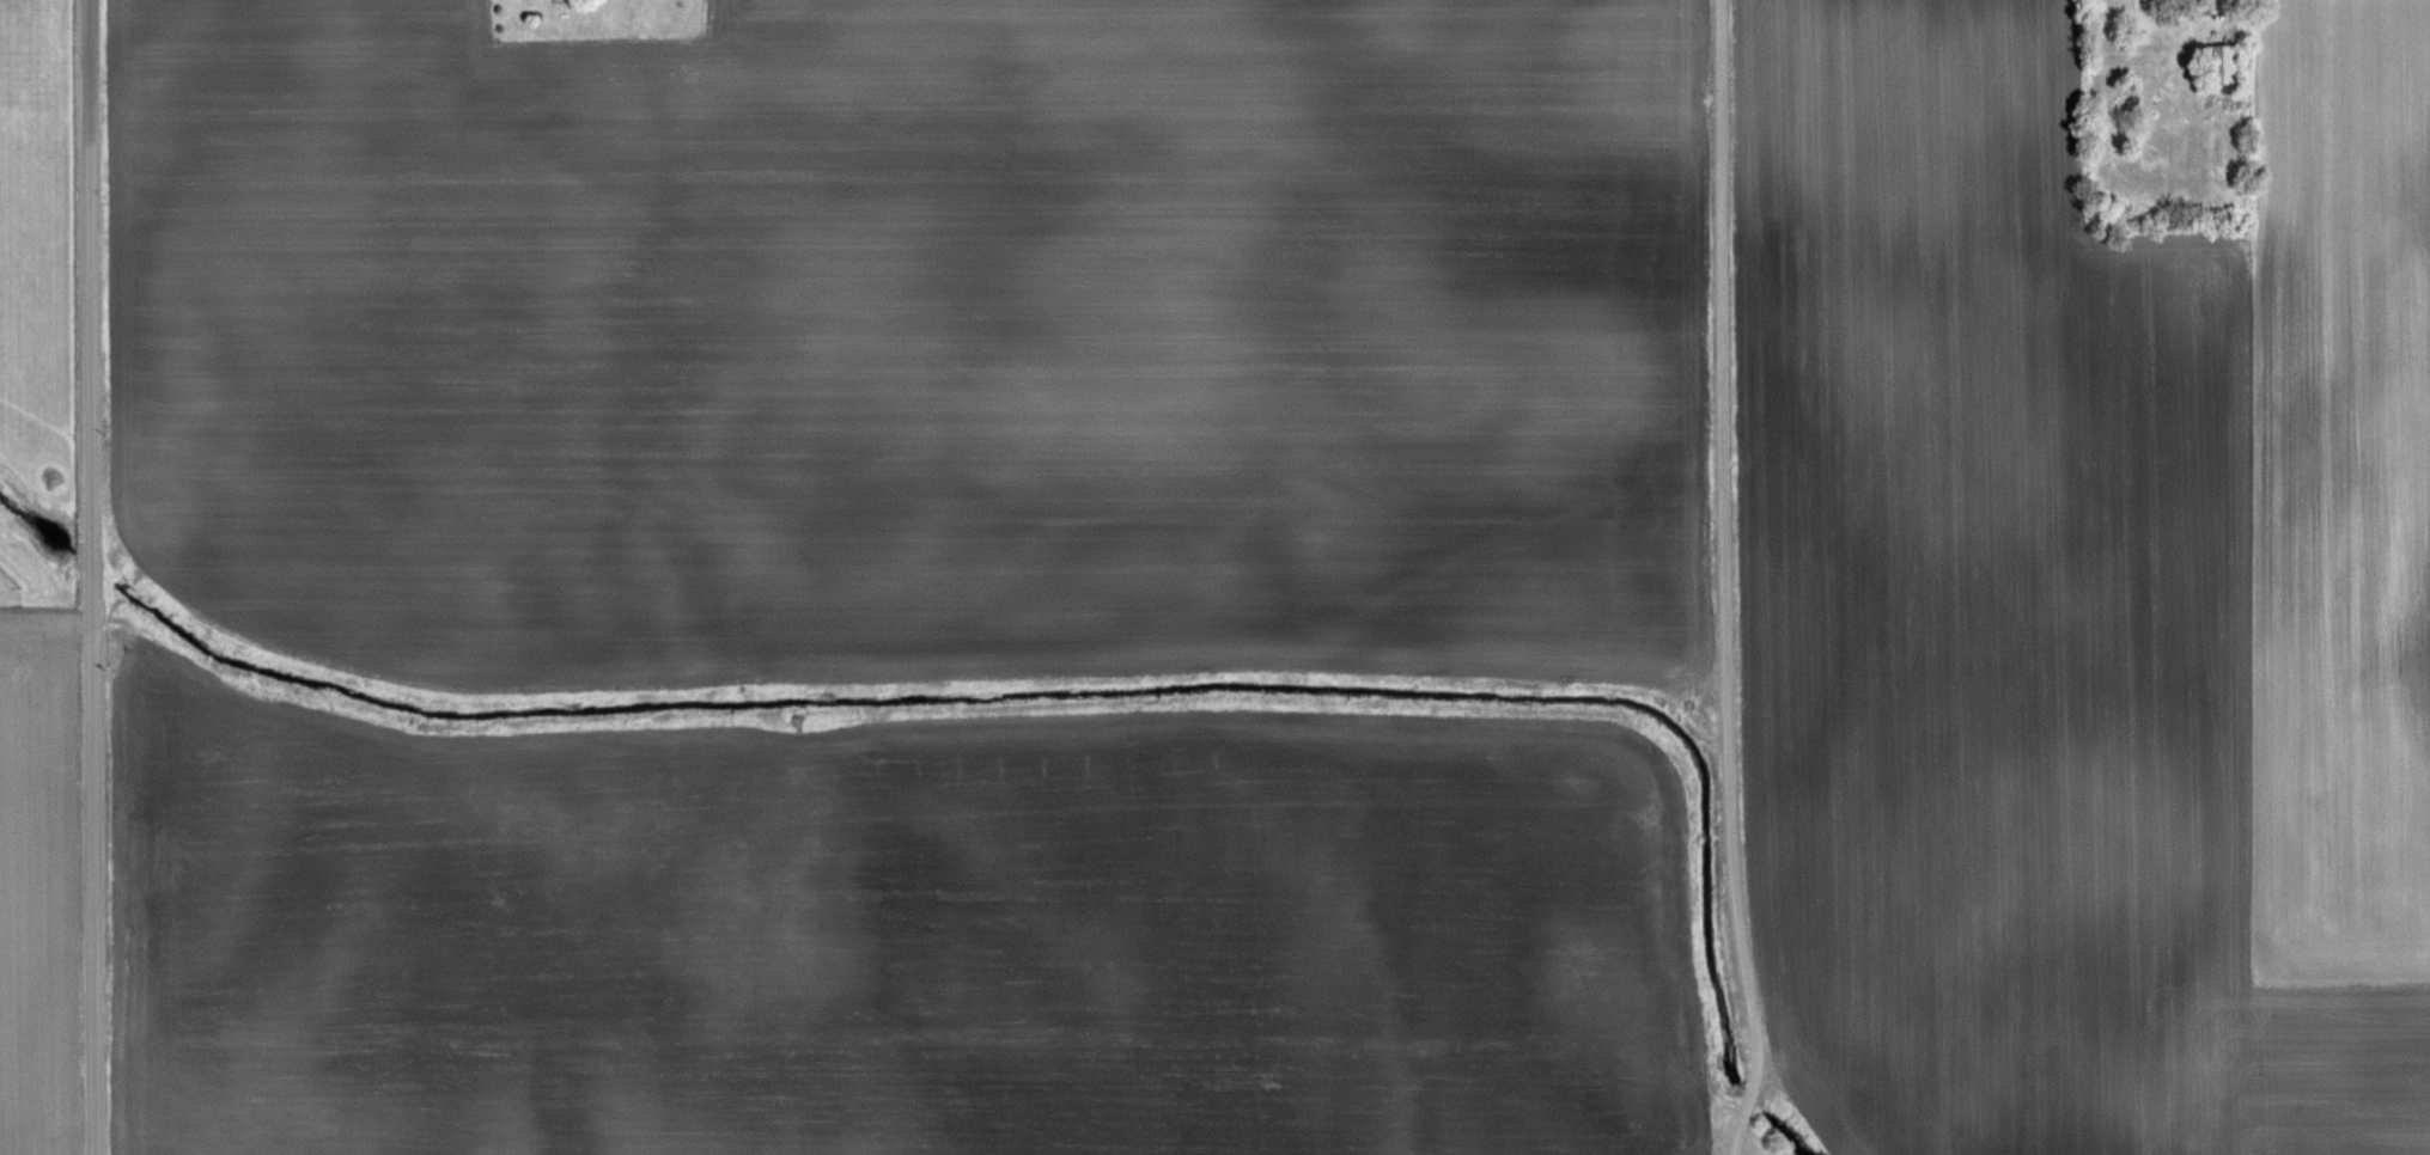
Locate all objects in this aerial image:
building: (2223, 62)
road: (85, 576)
road: (1723, 580)

